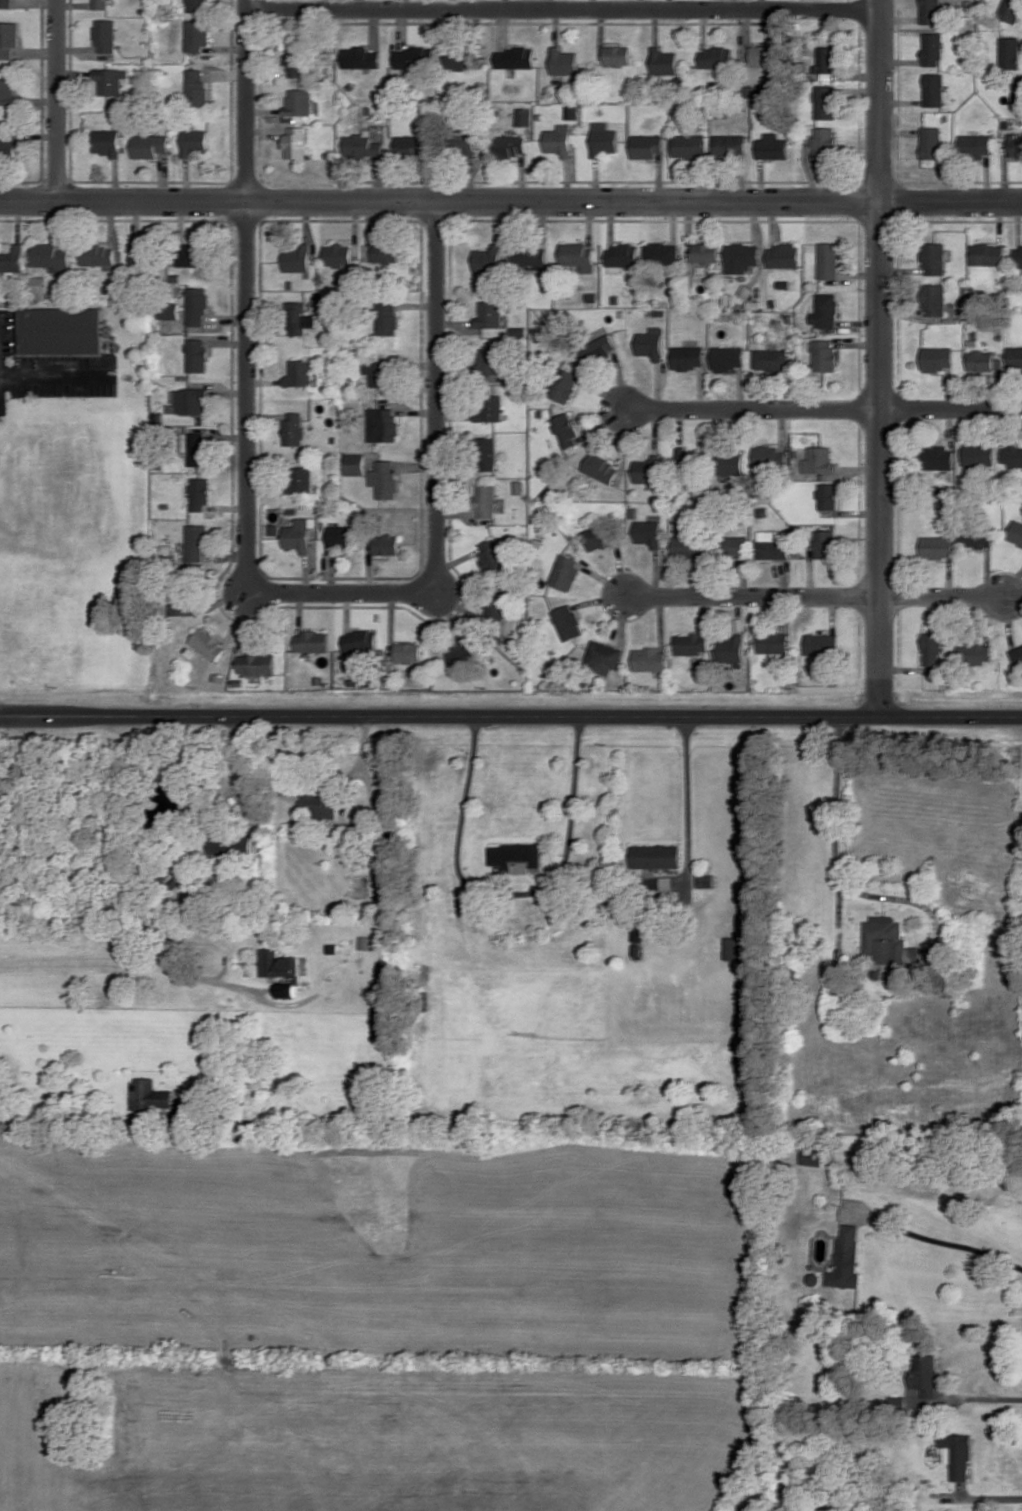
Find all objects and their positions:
building: (6, 3)
building: (101, 4)
building: (197, 5)
road: (564, 10)
building: (1010, 10)
building: (931, 11)
building: (106, 35)
building: (197, 35)
building: (9, 38)
building: (932, 49)
building: (1010, 53)
building: (617, 55)
building: (763, 55)
building: (361, 57)
building: (414, 58)
building: (515, 58)
building: (716, 58)
building: (826, 59)
building: (462, 60)
building: (563, 61)
building: (663, 61)
building: (295, 63)
building: (111, 80)
building: (197, 88)
building: (934, 89)
building: (7, 91)
building: (1017, 92)
road: (57, 99)
building: (299, 102)
building: (825, 102)
building: (572, 112)
building: (524, 116)
building: (603, 139)
building: (559, 140)
building: (825, 140)
building: (194, 141)
building: (463, 141)
building: (107, 142)
building: (296, 142)
building: (931, 142)
building: (7, 144)
building: (150, 145)
building: (362, 145)
building: (412, 145)
building: (509, 145)
building: (729, 145)
building: (975, 145)
building: (1015, 145)
building: (646, 146)
building: (688, 146)
building: (772, 147)
road: (510, 201)
building: (385, 252)
building: (706, 252)
building: (142, 253)
building: (661, 253)
building: (191, 254)
building: (987, 254)
building: (98, 255)
building: (338, 255)
building: (530, 255)
building: (783, 255)
building: (578, 256)
building: (622, 256)
building: (1019, 256)
building: (51, 257)
building: (741, 257)
building: (297, 258)
building: (491, 258)
building: (934, 258)
building: (11, 259)
building: (828, 260)
road: (248, 292)
building: (934, 299)
building: (196, 306)
building: (169, 310)
building: (825, 310)
building: (489, 314)
building: (386, 317)
building: (298, 318)
building: (64, 321)
building: (651, 343)
building: (599, 349)
building: (196, 355)
building: (824, 355)
building: (688, 357)
building: (728, 358)
road: (880, 358)
building: (936, 358)
building: (771, 359)
building: (983, 361)
building: (492, 363)
road: (53, 369)
parking lot: (64, 371)
building: (379, 372)
building: (299, 373)
building: (565, 385)
building: (189, 401)
building: (488, 408)
road: (755, 408)
road: (952, 408)
building: (382, 424)
building: (294, 428)
building: (566, 430)
building: (197, 449)
building: (486, 453)
building: (978, 455)
building: (1012, 456)
building: (768, 457)
building: (937, 457)
building: (687, 459)
building: (819, 460)
building: (355, 463)
building: (731, 463)
building: (601, 468)
building: (648, 470)
building: (300, 479)
building: (384, 479)
road: (437, 481)
building: (199, 493)
building: (827, 496)
building: (485, 500)
building: (648, 532)
building: (1016, 533)
building: (298, 535)
building: (340, 537)
building: (597, 537)
building: (975, 538)
building: (195, 542)
building: (825, 543)
building: (385, 544)
building: (736, 545)
building: (771, 545)
building: (688, 546)
building: (937, 546)
building: (491, 555)
building: (564, 572)
road: (753, 596)
road: (944, 596)
building: (180, 604)
building: (497, 606)
building: (567, 622)
building: (312, 641)
building: (359, 641)
building: (771, 642)
building: (690, 643)
building: (821, 643)
building: (207, 644)
building: (730, 648)
building: (932, 648)
building: (407, 652)
building: (461, 652)
building: (975, 653)
building: (602, 656)
building: (1017, 657)
building: (648, 659)
building: (257, 662)
building: (219, 676)
building: (238, 681)
road: (511, 715)
road: (236, 762)
road: (688, 801)
building: (320, 804)
road: (834, 832)
building: (229, 844)
building: (516, 856)
building: (654, 856)
building: (705, 880)
building: (666, 882)
road: (510, 890)
building: (638, 930)
building: (888, 941)
building: (735, 947)
building: (637, 949)
road: (129, 959)
building: (279, 964)
building: (286, 989)
building: (149, 1096)
road: (62, 1123)
building: (814, 1155)
road: (939, 1238)
building: (848, 1258)
building: (814, 1276)
building: (925, 1373)
road: (968, 1396)
building: (898, 1400)
building: (959, 1451)
road: (983, 1496)

